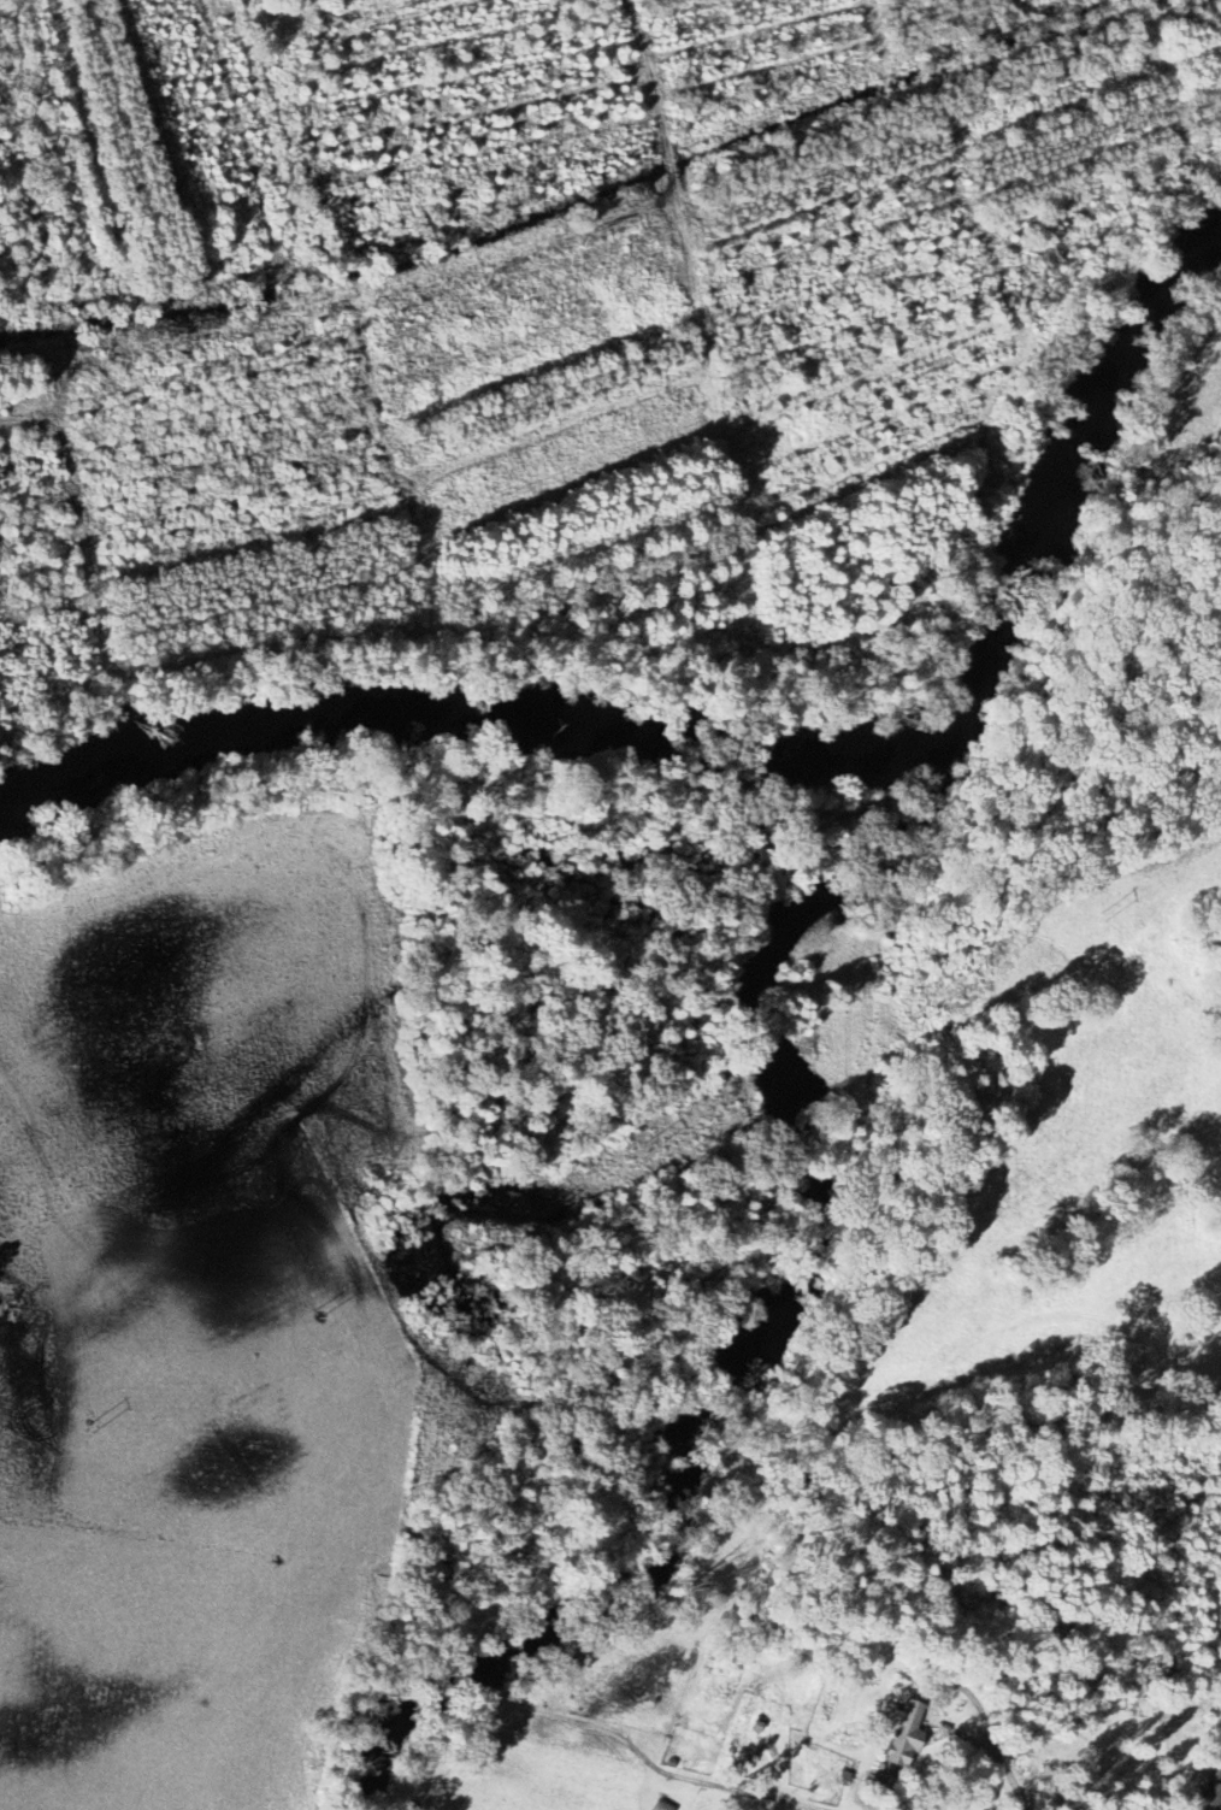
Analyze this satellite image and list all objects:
river: (1068, 482)
river: (461, 717)
river: (781, 1323)
building: (906, 1735)
road: (1008, 1774)
building: (1213, 1793)

